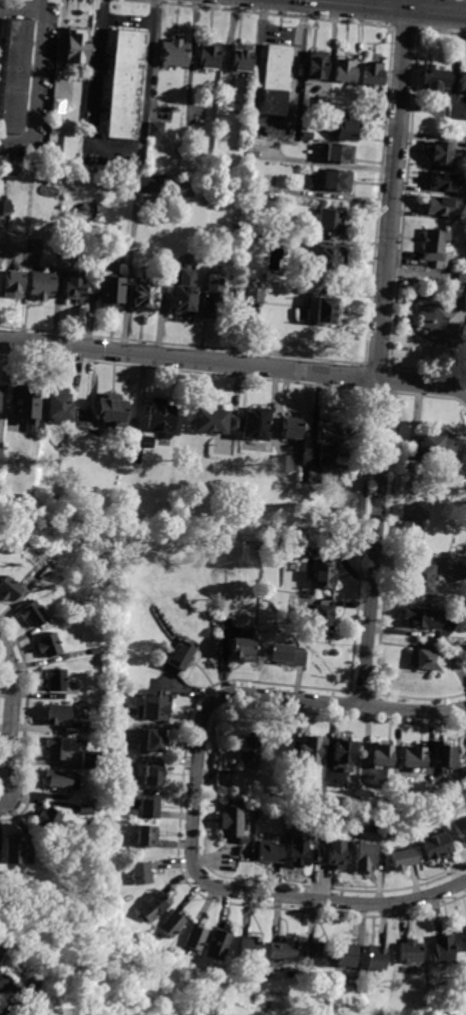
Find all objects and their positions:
road: (0, 3)
road: (400, 6)
road: (19, 7)
road: (125, 17)
building: (77, 45)
building: (174, 53)
building: (208, 55)
building: (241, 57)
building: (316, 65)
building: (344, 69)
building: (372, 72)
building: (14, 74)
building: (434, 80)
building: (275, 82)
building: (461, 82)
road: (35, 83)
building: (123, 86)
building: (322, 104)
building: (55, 119)
road: (272, 123)
building: (346, 129)
building: (155, 130)
building: (306, 135)
road: (115, 152)
building: (339, 153)
building: (438, 153)
building: (142, 181)
building: (336, 181)
building: (443, 181)
building: (204, 184)
building: (251, 185)
building: (439, 206)
building: (8, 208)
building: (86, 210)
building: (330, 222)
building: (247, 230)
building: (436, 248)
building: (327, 258)
building: (460, 279)
building: (12, 283)
building: (42, 285)
building: (74, 289)
building: (112, 292)
building: (185, 293)
building: (240, 293)
building: (145, 295)
building: (254, 295)
building: (213, 296)
building: (323, 310)
building: (442, 319)
road: (379, 353)
road: (188, 359)
road: (421, 382)
building: (28, 405)
building: (60, 407)
building: (112, 411)
building: (162, 416)
building: (210, 421)
building: (235, 423)
building: (260, 426)
building: (292, 427)
building: (148, 441)
building: (328, 441)
building: (436, 450)
building: (137, 454)
building: (0, 458)
building: (284, 463)
building: (314, 476)
building: (411, 529)
building: (262, 543)
building: (304, 549)
building: (463, 572)
building: (325, 575)
building: (419, 578)
building: (8, 589)
building: (31, 613)
building: (422, 618)
building: (321, 621)
building: (118, 622)
building: (48, 645)
building: (242, 650)
building: (93, 652)
building: (182, 654)
building: (287, 655)
building: (424, 660)
building: (54, 679)
road: (240, 693)
building: (94, 696)
building: (158, 707)
building: (56, 713)
road: (11, 718)
building: (88, 728)
building: (155, 740)
building: (249, 744)
building: (58, 747)
building: (309, 750)
building: (339, 752)
building: (379, 753)
building: (443, 755)
building: (412, 757)
building: (89, 760)
building: (154, 774)
building: (62, 780)
building: (225, 780)
building: (303, 792)
building: (93, 798)
building: (151, 805)
building: (86, 809)
building: (48, 820)
building: (233, 820)
building: (461, 829)
building: (147, 836)
building: (436, 846)
building: (298, 850)
building: (15, 851)
building: (269, 852)
building: (336, 853)
building: (364, 857)
building: (402, 859)
building: (141, 873)
building: (2, 875)
road: (341, 901)
building: (116, 906)
building: (153, 907)
building: (48, 920)
building: (172, 924)
building: (465, 931)
building: (195, 937)
building: (218, 945)
building: (249, 948)
building: (283, 950)
building: (443, 950)
building: (410, 952)
building: (316, 954)
building: (344, 955)
building: (376, 958)
building: (33, 984)
road: (3, 987)

